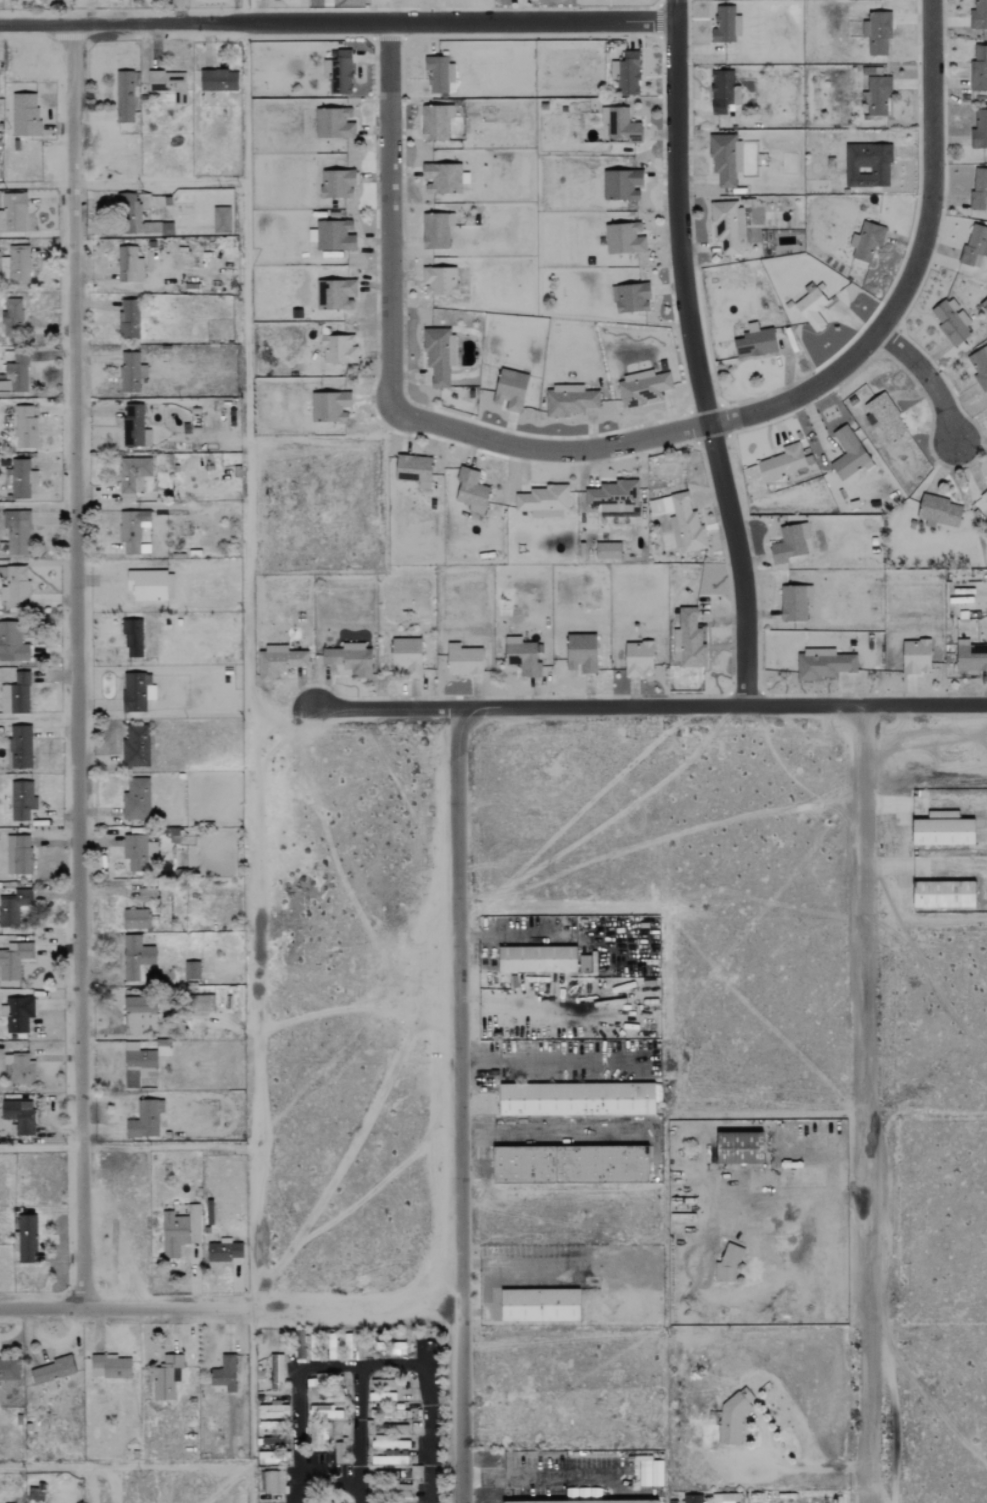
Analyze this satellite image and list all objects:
road: (674, 10)
building: (979, 15)
road: (336, 23)
building: (726, 25)
building: (877, 33)
building: (979, 69)
building: (341, 71)
building: (626, 74)
building: (439, 75)
building: (218, 80)
building: (168, 84)
building: (723, 92)
building: (876, 96)
building: (124, 97)
building: (24, 115)
building: (435, 122)
building: (335, 124)
building: (621, 126)
building: (980, 129)
building: (725, 158)
building: (867, 165)
road: (930, 171)
building: (337, 184)
building: (622, 185)
building: (979, 190)
road: (388, 201)
building: (13, 213)
building: (138, 218)
building: (221, 220)
building: (727, 225)
building: (436, 230)
building: (334, 236)
building: (624, 239)
building: (867, 241)
building: (975, 246)
building: (129, 265)
building: (16, 266)
building: (439, 282)
building: (339, 295)
building: (630, 298)
building: (812, 309)
building: (128, 319)
building: (12, 320)
building: (952, 322)
building: (755, 342)
building: (338, 349)
building: (439, 355)
road: (695, 363)
building: (979, 366)
building: (131, 372)
building: (15, 374)
road: (925, 379)
building: (510, 390)
building: (643, 390)
building: (570, 400)
building: (330, 407)
building: (886, 418)
building: (25, 427)
building: (134, 427)
road: (632, 442)
building: (849, 454)
building: (782, 464)
building: (414, 470)
building: (132, 476)
building: (21, 479)
building: (471, 492)
building: (613, 497)
building: (984, 498)
building: (543, 501)
building: (938, 512)
building: (681, 521)
building: (133, 531)
building: (674, 532)
building: (16, 533)
building: (789, 544)
building: (607, 551)
building: (150, 585)
building: (16, 588)
building: (794, 603)
building: (135, 639)
building: (690, 641)
building: (12, 642)
building: (581, 654)
building: (406, 657)
building: (522, 657)
building: (916, 657)
building: (970, 657)
building: (638, 659)
building: (349, 660)
building: (463, 660)
building: (278, 662)
building: (823, 665)
road: (74, 666)
building: (136, 692)
building: (15, 695)
road: (865, 704)
road: (528, 705)
building: (20, 747)
building: (136, 747)
building: (136, 799)
building: (21, 800)
building: (943, 831)
building: (138, 853)
building: (19, 855)
building: (944, 895)
building: (12, 908)
building: (136, 920)
road: (503, 934)
building: (136, 958)
building: (542, 958)
building: (14, 960)
road: (484, 962)
building: (191, 971)
building: (200, 1004)
building: (17, 1014)
building: (139, 1016)
road: (547, 1061)
building: (138, 1065)
building: (19, 1068)
building: (577, 1098)
road: (865, 1103)
road: (458, 1105)
building: (19, 1116)
building: (145, 1119)
road: (40, 1148)
building: (740, 1148)
building: (571, 1163)
road: (808, 1177)
building: (179, 1231)
building: (26, 1239)
building: (223, 1251)
building: (728, 1264)
building: (541, 1304)
road: (358, 1305)
road: (127, 1307)
building: (110, 1366)
road: (327, 1367)
building: (9, 1369)
building: (275, 1370)
building: (51, 1372)
building: (225, 1374)
building: (166, 1377)
building: (313, 1382)
building: (385, 1384)
building: (324, 1394)
building: (382, 1396)
road: (428, 1399)
building: (380, 1408)
building: (273, 1410)
building: (323, 1412)
building: (395, 1414)
building: (732, 1418)
building: (318, 1438)
building: (276, 1440)
building: (390, 1442)
building: (340, 1452)
building: (391, 1458)
road: (807, 1466)
building: (415, 1472)
building: (505, 1473)
road: (539, 1478)
building: (274, 1487)
building: (390, 1489)
building: (726, 1498)
building: (692, 1499)
building: (584, 1501)
building: (672, 1502)

